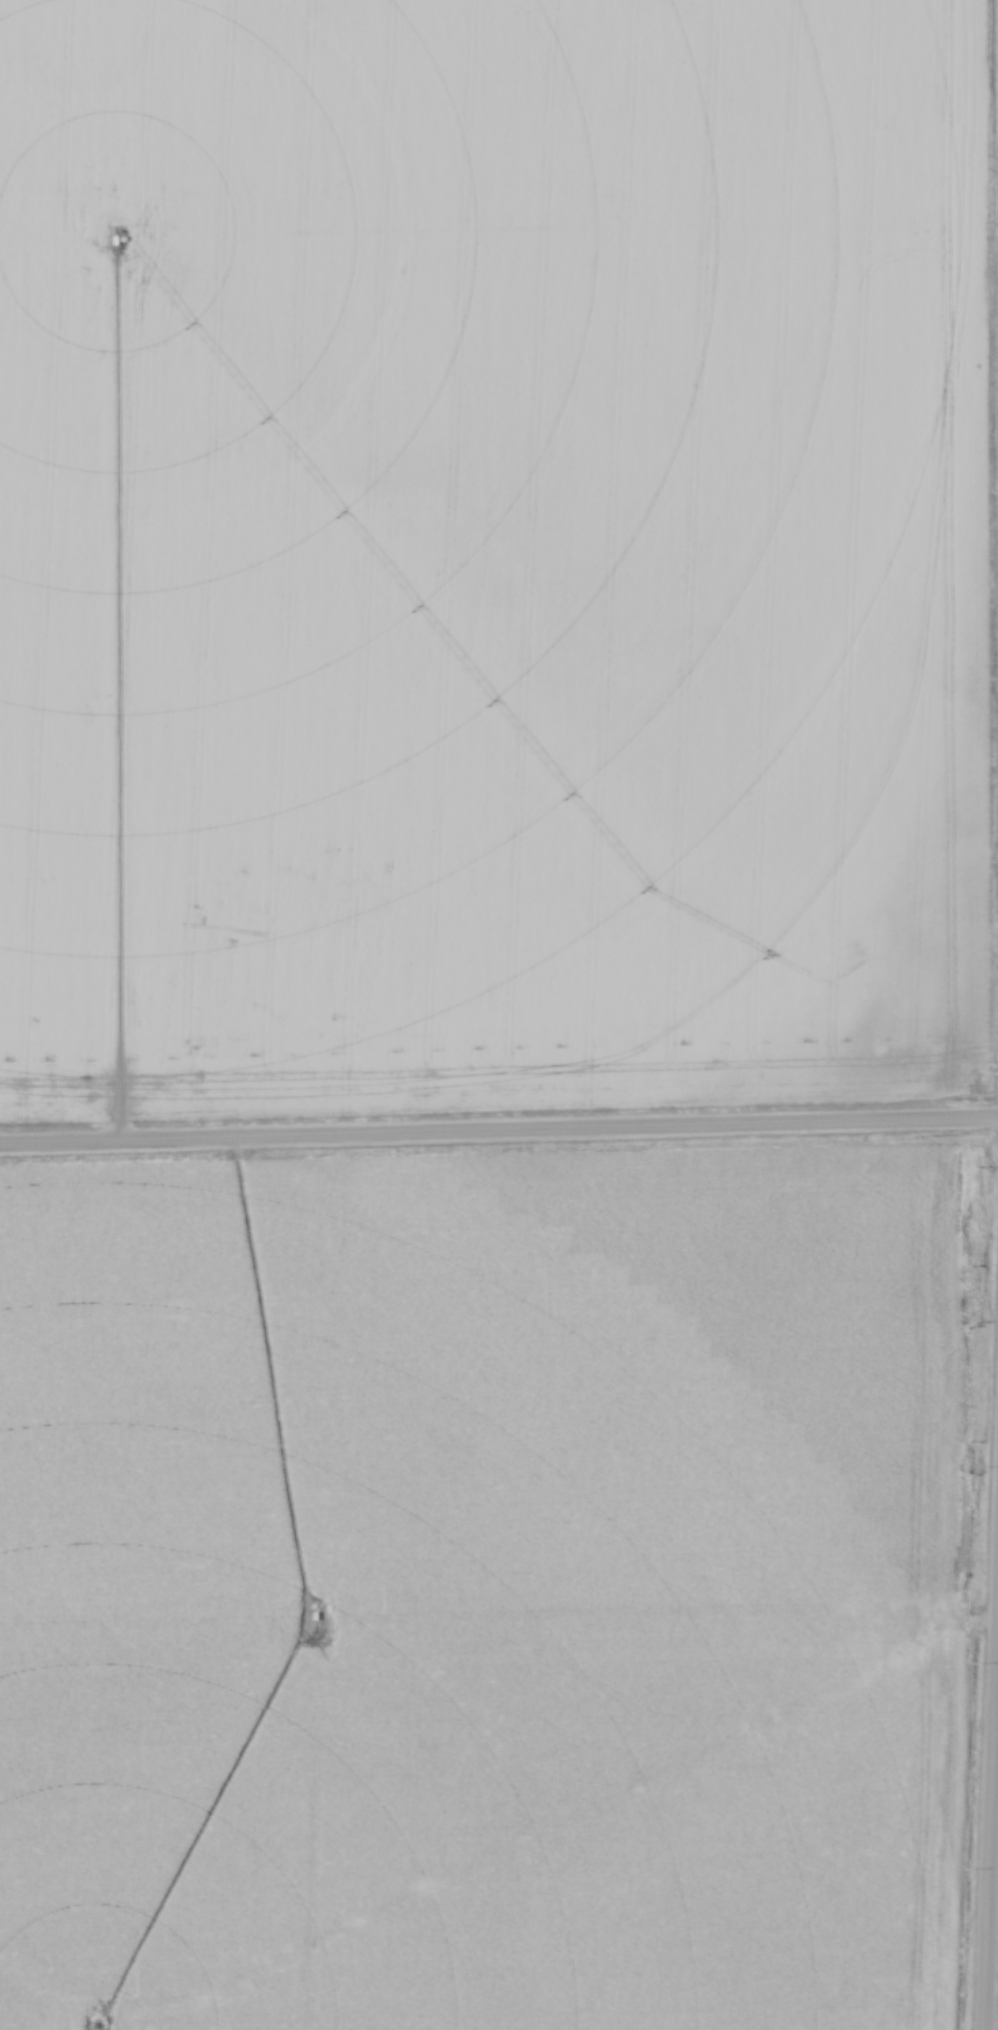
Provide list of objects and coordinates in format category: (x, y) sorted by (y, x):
road: (498, 1134)
road: (987, 1754)

